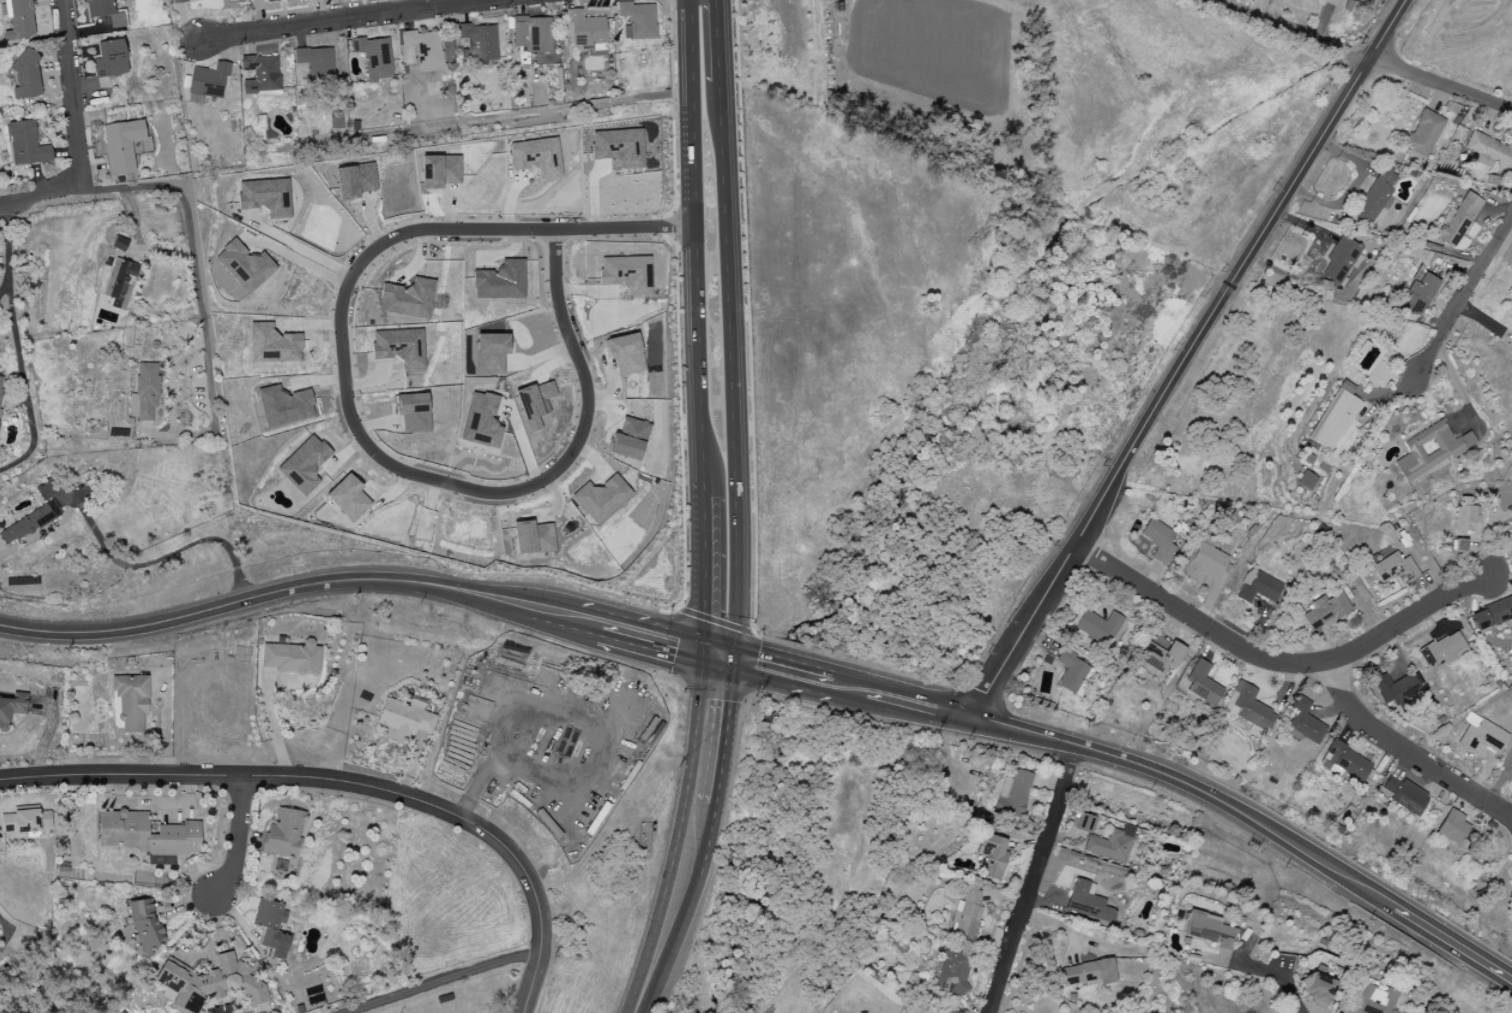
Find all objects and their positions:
building: (179, 0)
building: (1339, 0)
road: (1255, 8)
building: (104, 12)
road: (349, 19)
building: (19, 20)
building: (638, 21)
building: (584, 28)
road: (1289, 29)
building: (532, 34)
building: (480, 42)
building: (425, 49)
building: (374, 58)
building: (110, 59)
building: (316, 63)
building: (25, 74)
building: (261, 74)
building: (207, 82)
road: (1440, 84)
road: (73, 97)
building: (1425, 135)
building: (26, 144)
building: (122, 146)
building: (619, 147)
building: (1489, 151)
building: (536, 157)
building: (440, 171)
building: (355, 181)
building: (1378, 193)
building: (265, 197)
road: (39, 202)
building: (1458, 221)
building: (120, 244)
road: (302, 249)
road: (694, 249)
road: (8, 253)
road: (194, 253)
building: (1341, 260)
building: (245, 266)
building: (627, 274)
building: (501, 281)
building: (119, 283)
building: (1417, 296)
road: (1464, 296)
building: (408, 299)
road: (732, 330)
building: (273, 345)
road: (18, 347)
building: (399, 347)
building: (491, 351)
building: (625, 354)
road: (1185, 359)
building: (2, 389)
building: (145, 393)
building: (535, 402)
building: (284, 406)
building: (413, 412)
road: (348, 419)
building: (1335, 419)
building: (482, 421)
road: (33, 435)
building: (629, 439)
building: (1429, 451)
building: (304, 465)
building: (1306, 480)
building: (348, 498)
building: (600, 498)
building: (1466, 518)
road: (702, 524)
building: (532, 537)
building: (1159, 539)
building: (1459, 546)
road: (168, 558)
building: (1205, 563)
building: (1393, 568)
building: (1259, 589)
road: (287, 591)
road: (705, 603)
building: (1327, 611)
building: (1491, 614)
road: (589, 625)
building: (1100, 625)
road: (659, 642)
building: (1442, 650)
traffic signals: (717, 656)
building: (1160, 657)
building: (291, 660)
road: (1272, 660)
road: (774, 671)
building: (1072, 672)
building: (1202, 684)
building: (1395, 688)
road: (849, 690)
building: (11, 707)
road: (920, 708)
building: (1247, 708)
building: (406, 717)
building: (1303, 723)
road: (711, 728)
road: (166, 729)
building: (1482, 737)
road: (1408, 753)
building: (1344, 761)
building: (1511, 766)
road: (315, 779)
road: (1195, 789)
building: (1017, 793)
building: (1404, 795)
building: (1084, 823)
building: (28, 824)
building: (1451, 827)
building: (283, 834)
building: (146, 835)
road: (237, 839)
building: (1111, 844)
building: (993, 856)
road: (1032, 880)
building: (1087, 902)
road: (671, 908)
building: (145, 925)
building: (271, 927)
building: (1209, 930)
road: (4, 938)
road: (1453, 945)
road: (699, 966)
building: (954, 970)
building: (1089, 973)
road: (1278, 977)
road: (440, 981)
road: (528, 981)
building: (208, 983)
building: (1317, 988)
building: (1371, 998)

